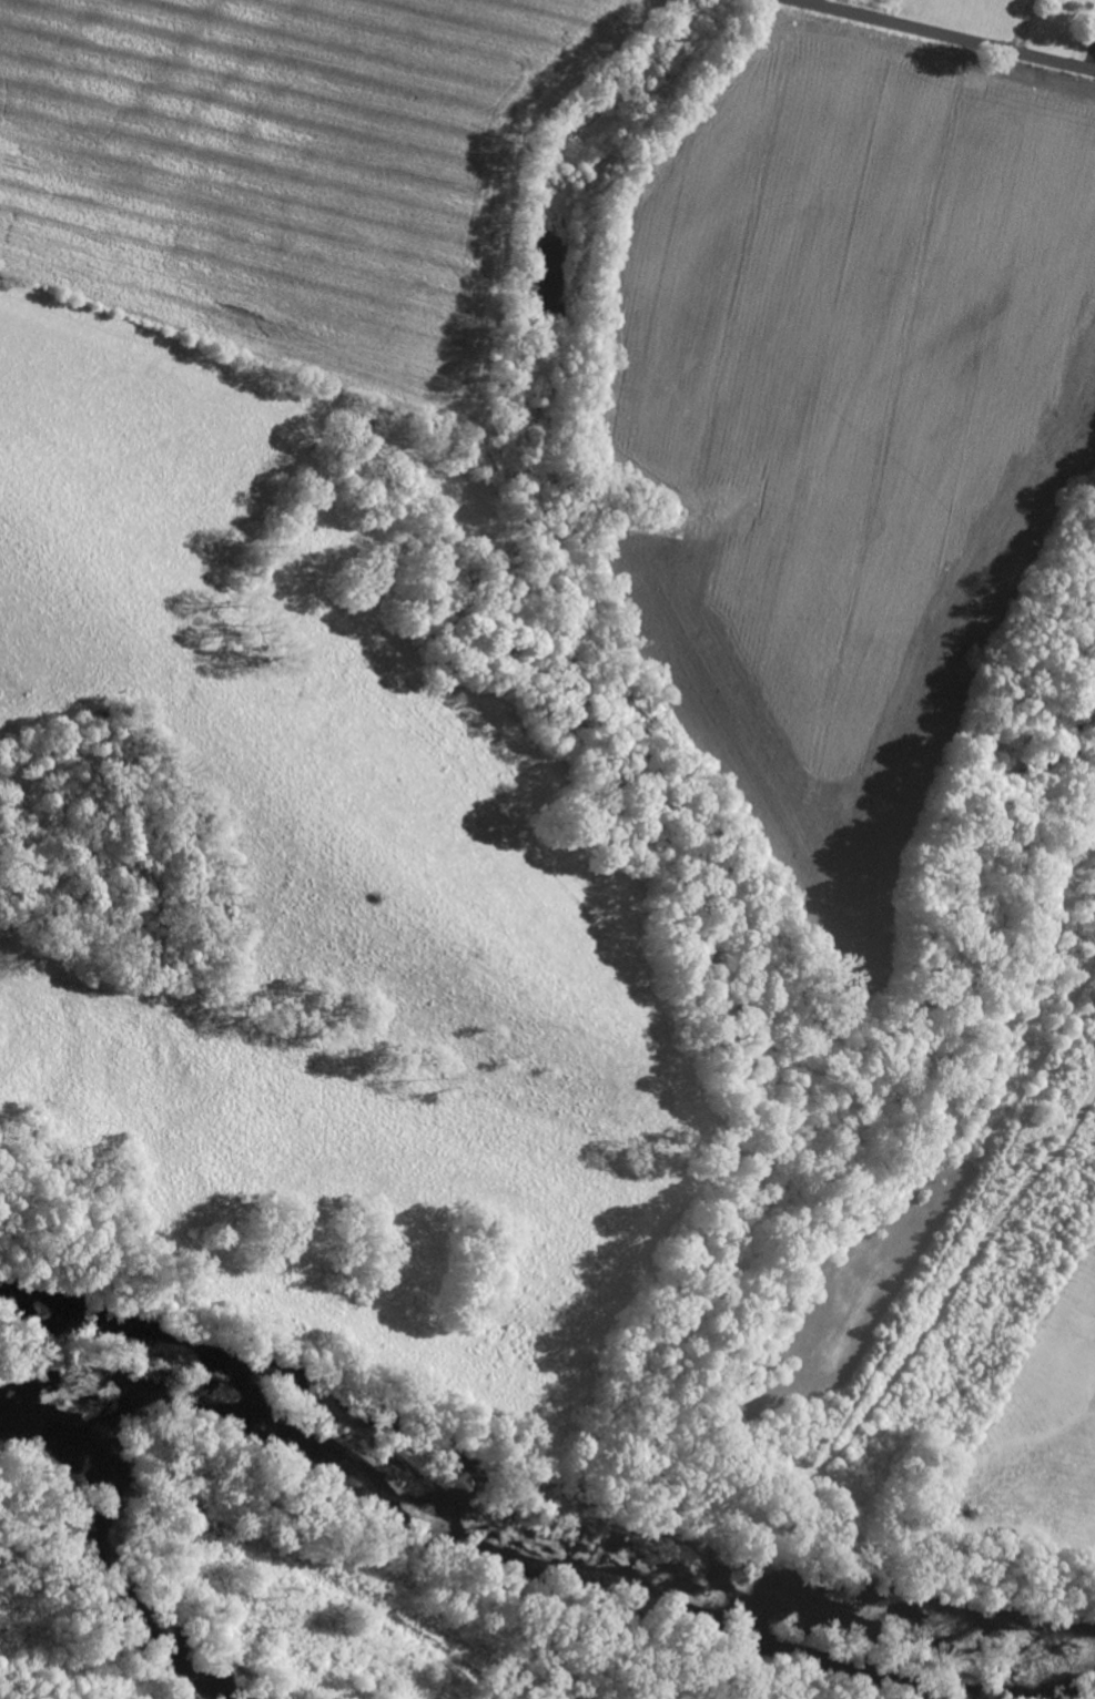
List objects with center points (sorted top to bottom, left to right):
road: (1025, 27)
road: (940, 35)
river: (531, 1552)

